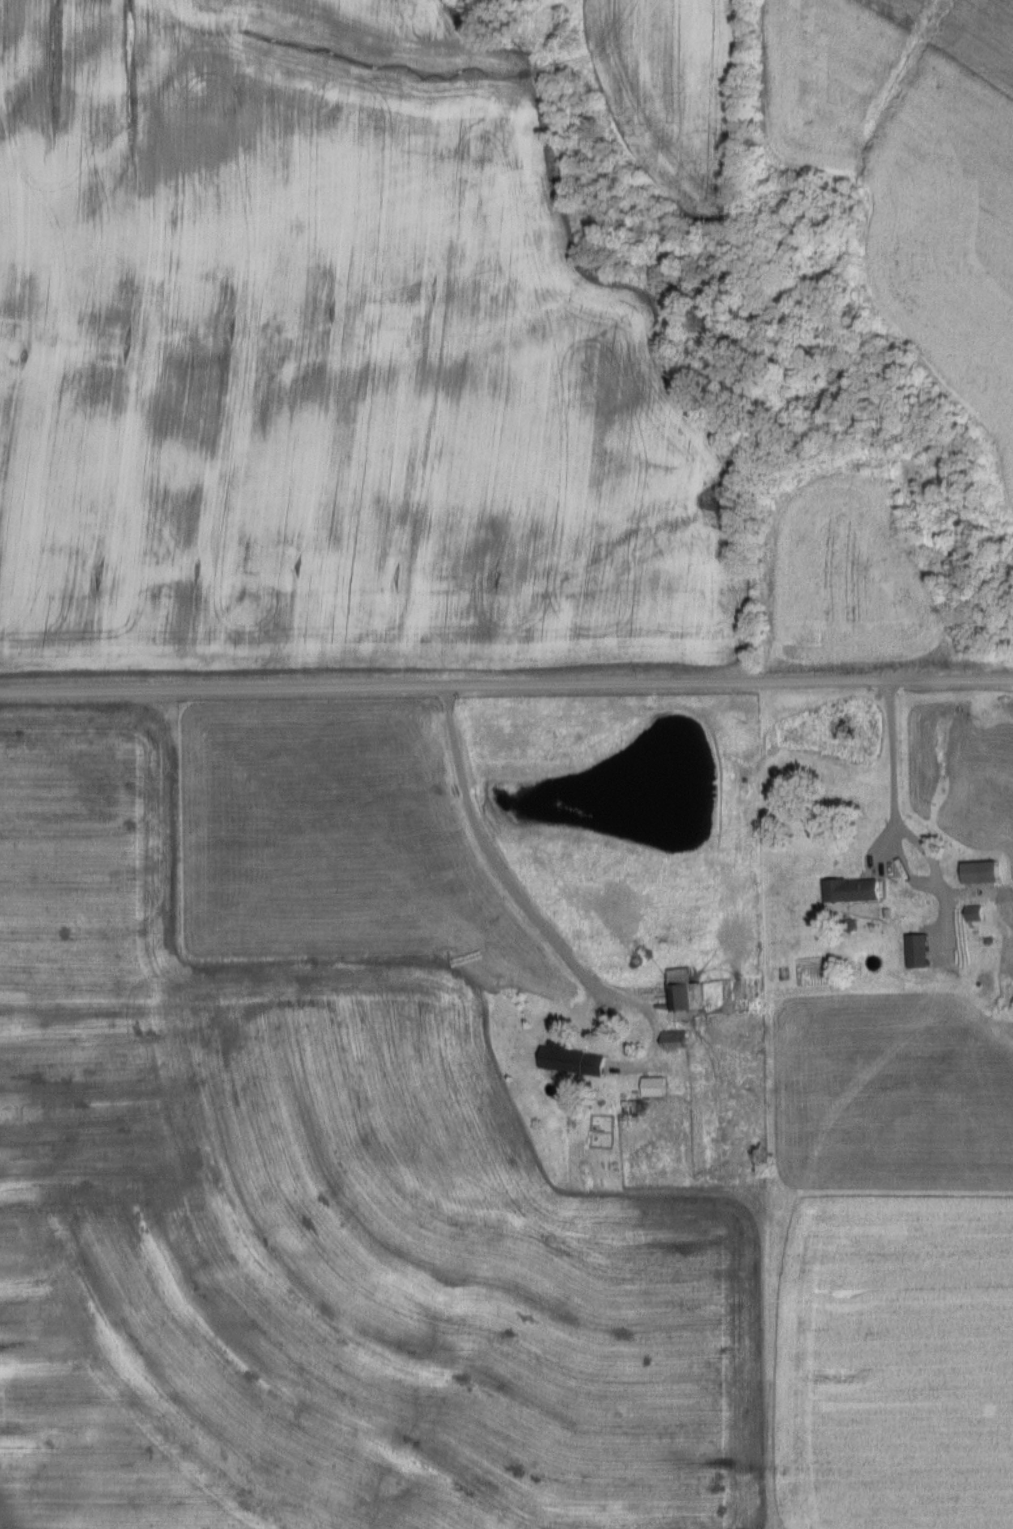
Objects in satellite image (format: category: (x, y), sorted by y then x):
road: (506, 682)
road: (565, 719)
road: (889, 752)
building: (981, 869)
building: (851, 887)
road: (508, 888)
building: (974, 911)
building: (917, 949)
building: (684, 989)
building: (673, 1038)
building: (563, 1057)
building: (652, 1084)

